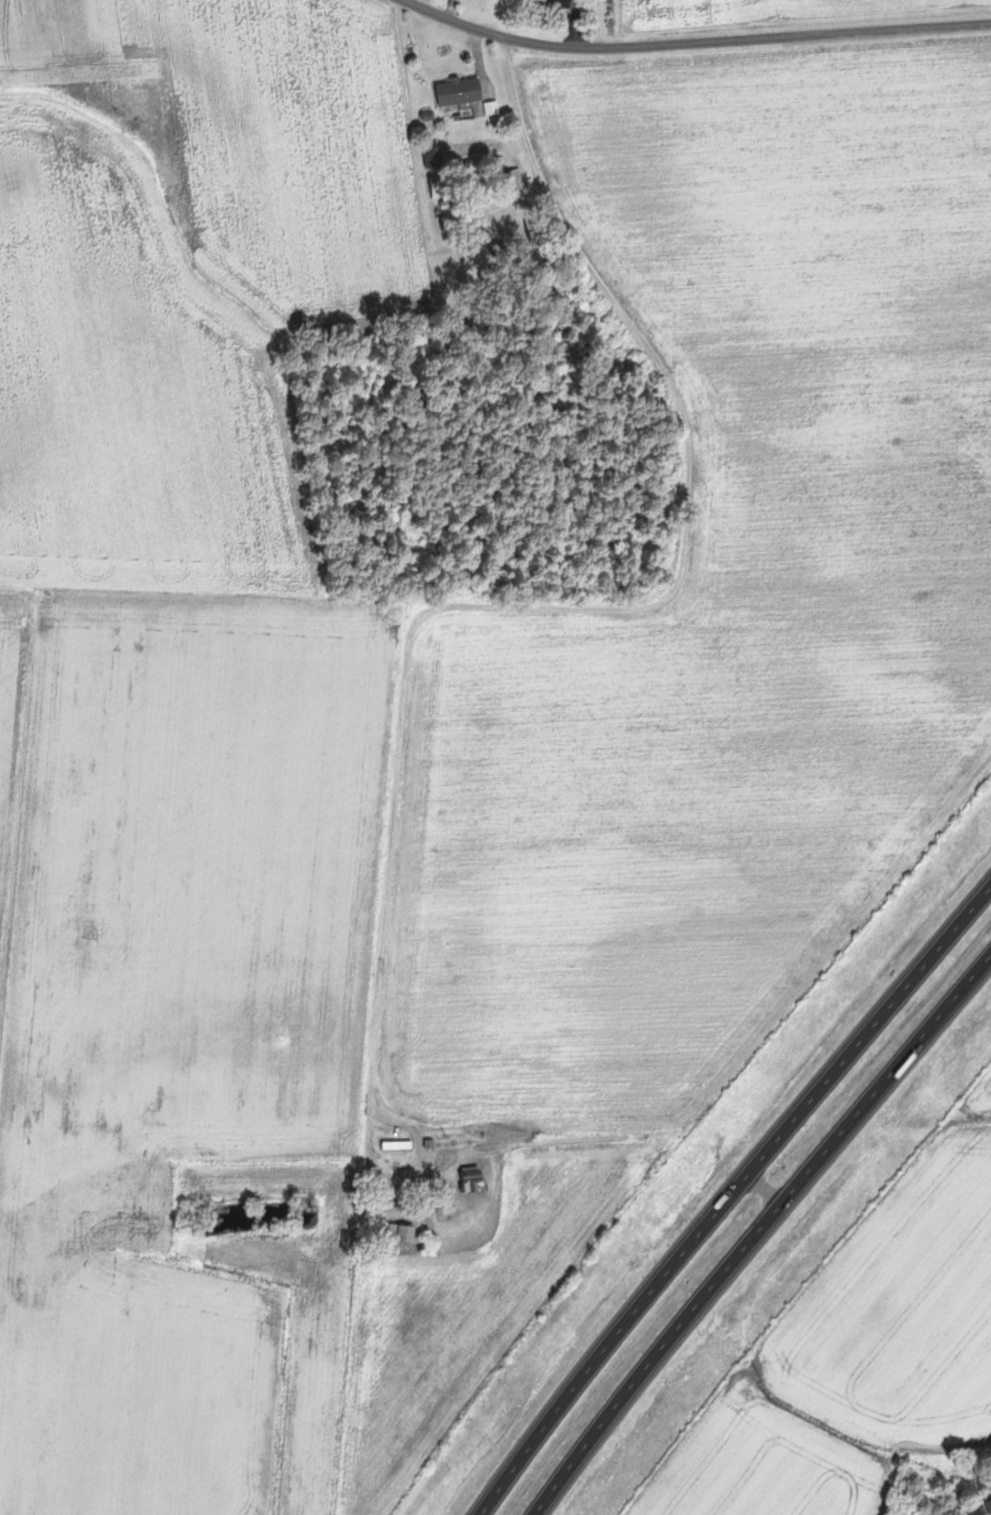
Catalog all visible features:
building: (569, 5)
road: (446, 10)
road: (689, 46)
building: (462, 91)
building: (436, 156)
building: (445, 187)
road: (484, 605)
road: (944, 1121)
road: (738, 1201)
building: (406, 1232)
road: (769, 1245)

